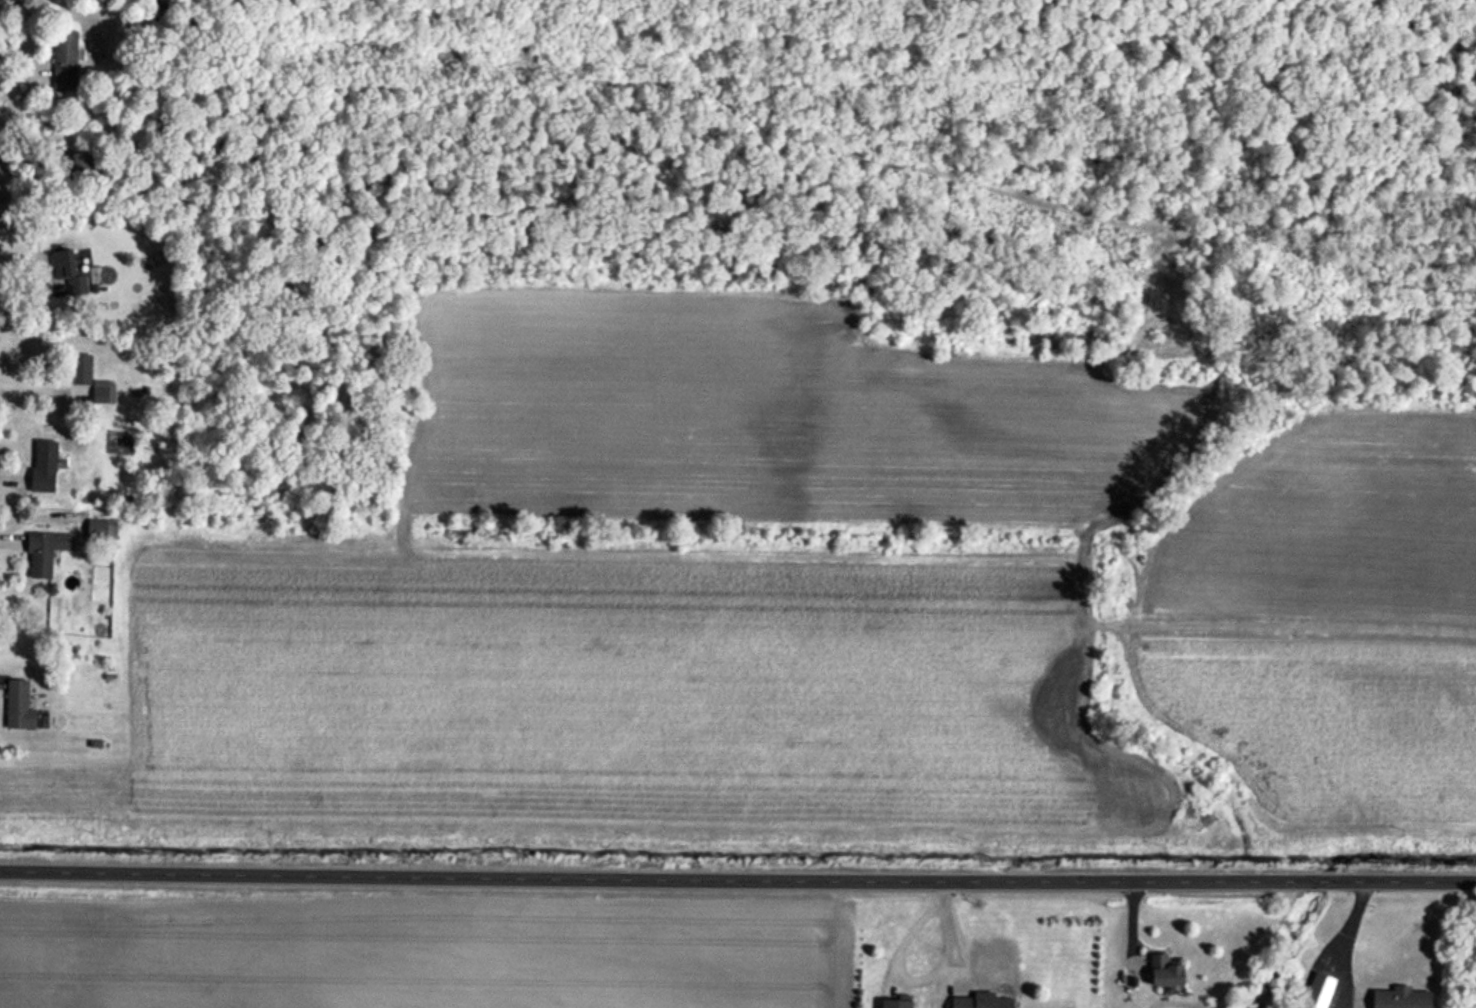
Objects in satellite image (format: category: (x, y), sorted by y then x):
building: (65, 60)
building: (69, 271)
building: (82, 369)
road: (40, 387)
building: (46, 466)
building: (42, 555)
building: (21, 703)
road: (737, 875)
road: (1340, 934)
building: (1169, 971)
road: (901, 972)
building: (1403, 998)
building: (987, 1001)
building: (899, 1003)

